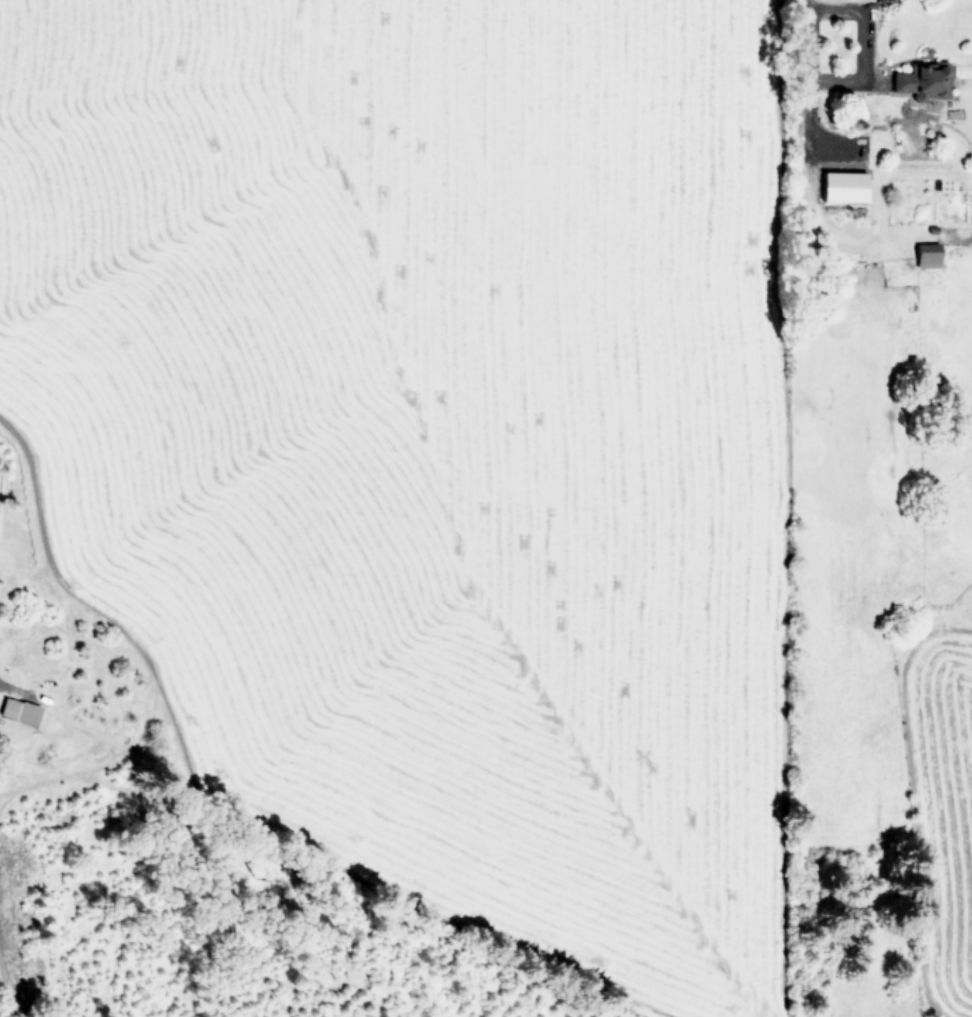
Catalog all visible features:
road: (815, 71)
building: (922, 81)
building: (843, 186)
building: (926, 254)
crop: (521, 450)
building: (19, 710)

